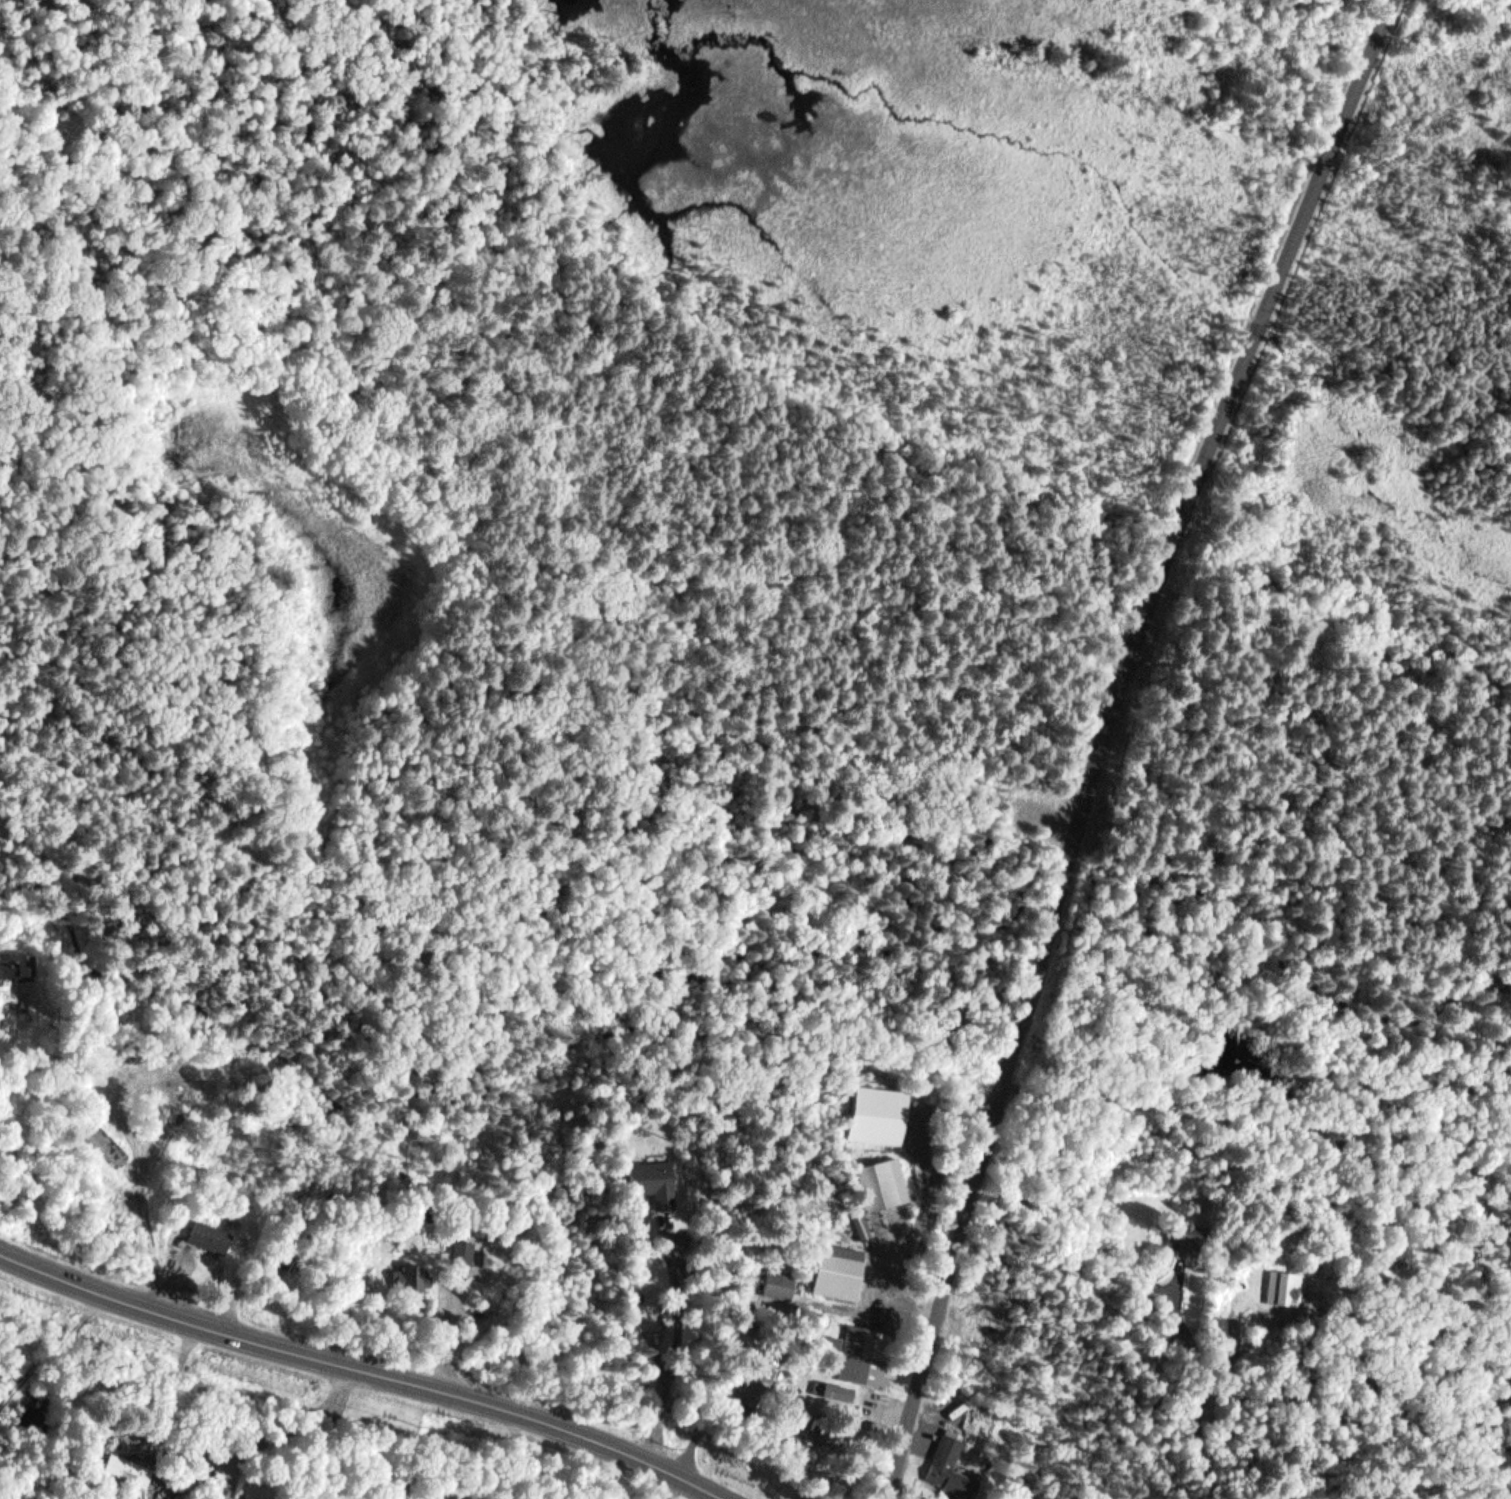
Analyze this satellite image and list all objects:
road: (1109, 740)
building: (18, 967)
building: (878, 1115)
building: (654, 1177)
building: (883, 1184)
building: (208, 1236)
building: (1192, 1237)
building: (483, 1255)
building: (408, 1269)
building: (839, 1272)
building: (778, 1285)
building: (1287, 1288)
building: (648, 1312)
building: (827, 1348)
building: (868, 1356)
road: (372, 1371)
building: (754, 1385)
building: (128, 1469)
building: (950, 1470)

